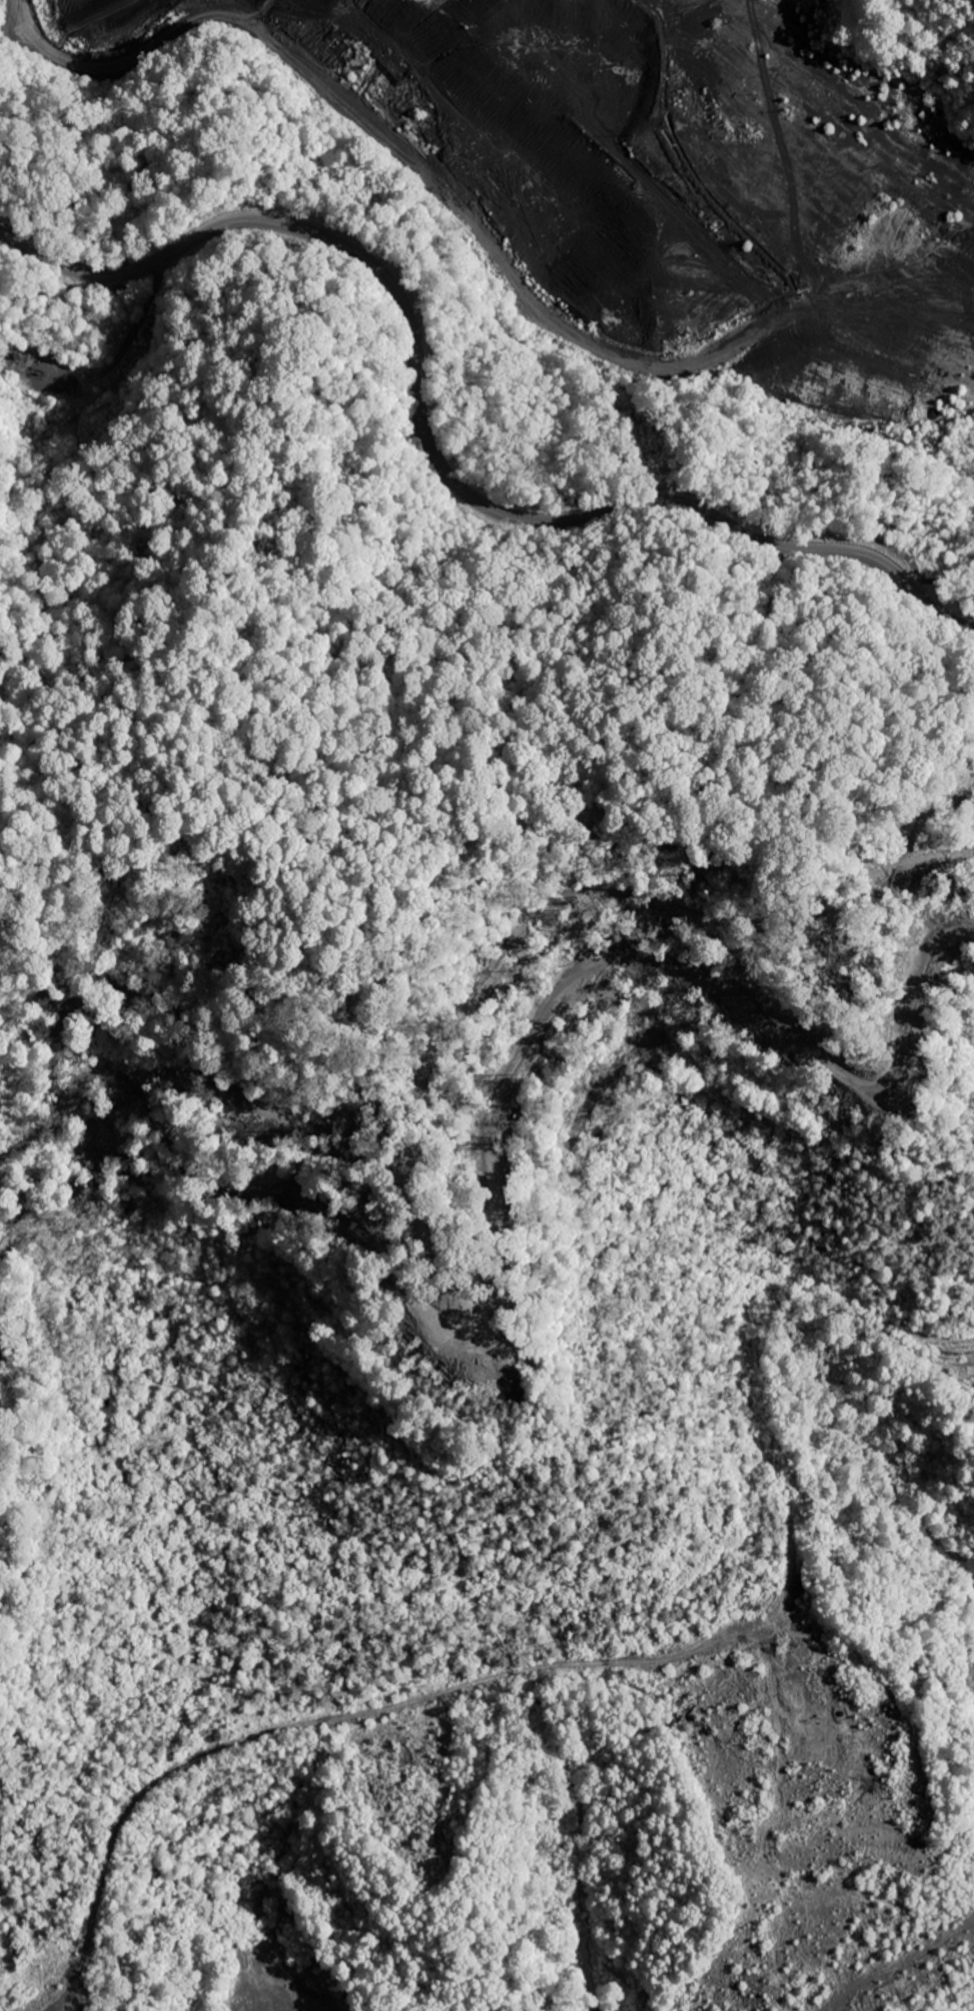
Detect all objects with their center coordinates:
road: (447, 450)
road: (606, 1664)

